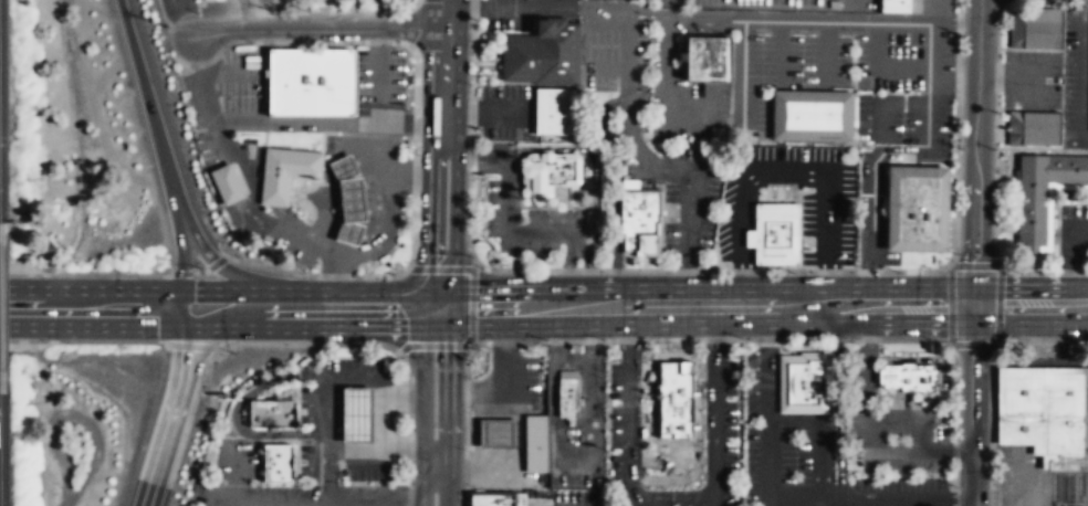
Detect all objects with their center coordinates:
building: (906, 4)
road: (572, 8)
road: (955, 18)
road: (866, 20)
power tower: (167, 24)
road: (668, 27)
building: (1034, 27)
road: (318, 29)
street lamp: (962, 35)
street lamp: (352, 43)
street lamp: (233, 48)
road: (825, 51)
building: (543, 52)
road: (781, 52)
building: (708, 60)
road: (606, 67)
road: (880, 68)
road: (443, 71)
road: (1085, 71)
road: (742, 72)
parking lot: (1032, 78)
building: (311, 81)
road: (955, 82)
road: (646, 83)
building: (556, 110)
building: (813, 114)
building: (1031, 127)
street lamp: (960, 148)
road: (977, 151)
road: (590, 152)
road: (164, 161)
building: (284, 172)
building: (550, 172)
road: (786, 173)
road: (873, 176)
building: (226, 182)
building: (1042, 189)
building: (348, 199)
gas station: (348, 199)
road: (688, 203)
road: (508, 207)
building: (919, 207)
road: (427, 213)
building: (641, 220)
road: (453, 231)
building: (777, 232)
parking lot: (1073, 235)
street lamp: (956, 254)
street lamp: (595, 255)
road: (1073, 259)
road: (211, 260)
road: (588, 272)
road: (564, 273)
road: (212, 289)
traffic signals: (426, 291)
road: (439, 291)
traffic signals: (453, 291)
road: (471, 298)
traffic signals: (975, 305)
road: (1031, 305)
road: (732, 306)
road: (426, 308)
road: (471, 316)
traffic signals: (452, 325)
traffic signals: (426, 326)
traffic signals: (184, 327)
road: (226, 327)
building: (910, 377)
building: (806, 381)
road: (326, 386)
road: (402, 393)
building: (567, 398)
building: (676, 399)
road: (975, 405)
road: (233, 410)
building: (271, 412)
building: (1044, 412)
building: (356, 414)
gas station: (356, 414)
road: (447, 414)
road: (383, 415)
road: (422, 415)
road: (171, 418)
building: (499, 432)
gas station: (499, 432)
building: (536, 443)
road: (364, 450)
road: (425, 450)
building: (276, 463)
road: (237, 473)
road: (325, 477)
building: (491, 499)
road: (240, 504)
road: (373, 504)
road: (296, 505)
road: (352, 505)

